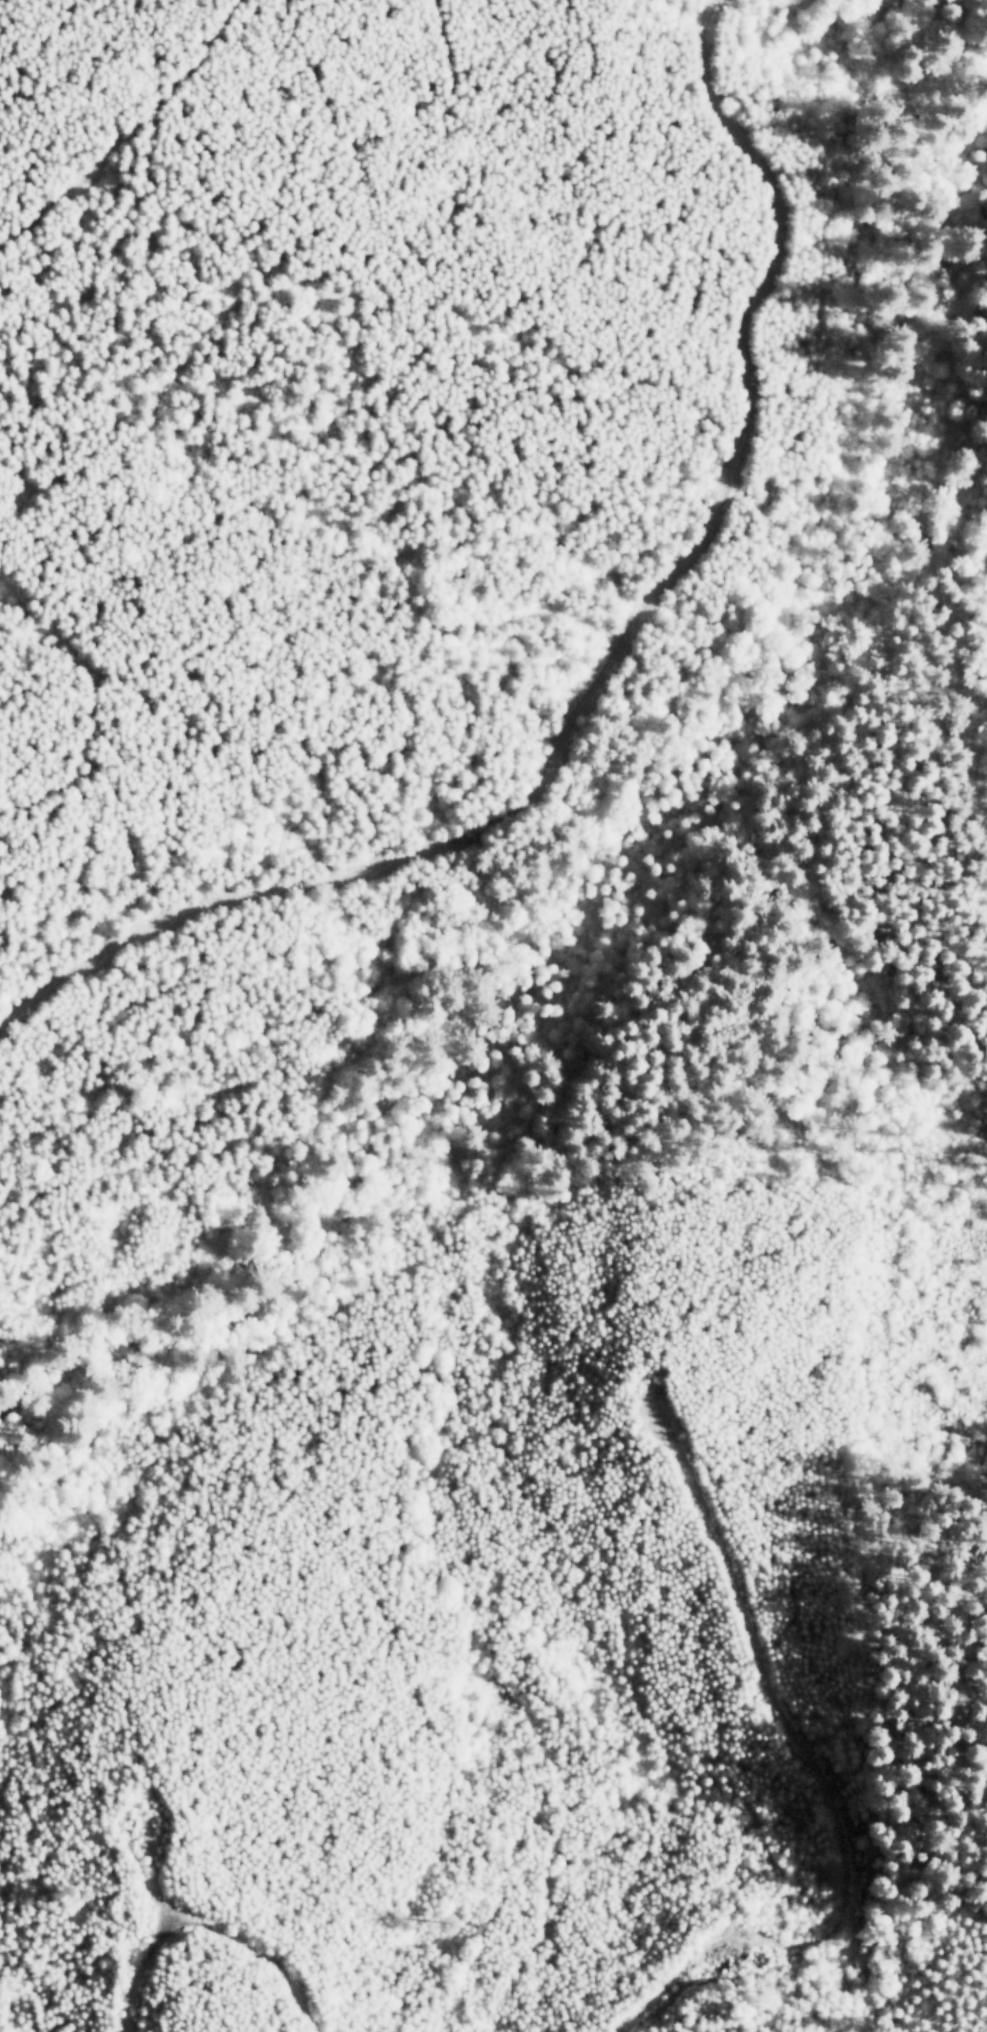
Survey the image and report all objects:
road: (716, 9)
road: (596, 675)
road: (813, 1769)
road: (208, 1931)

